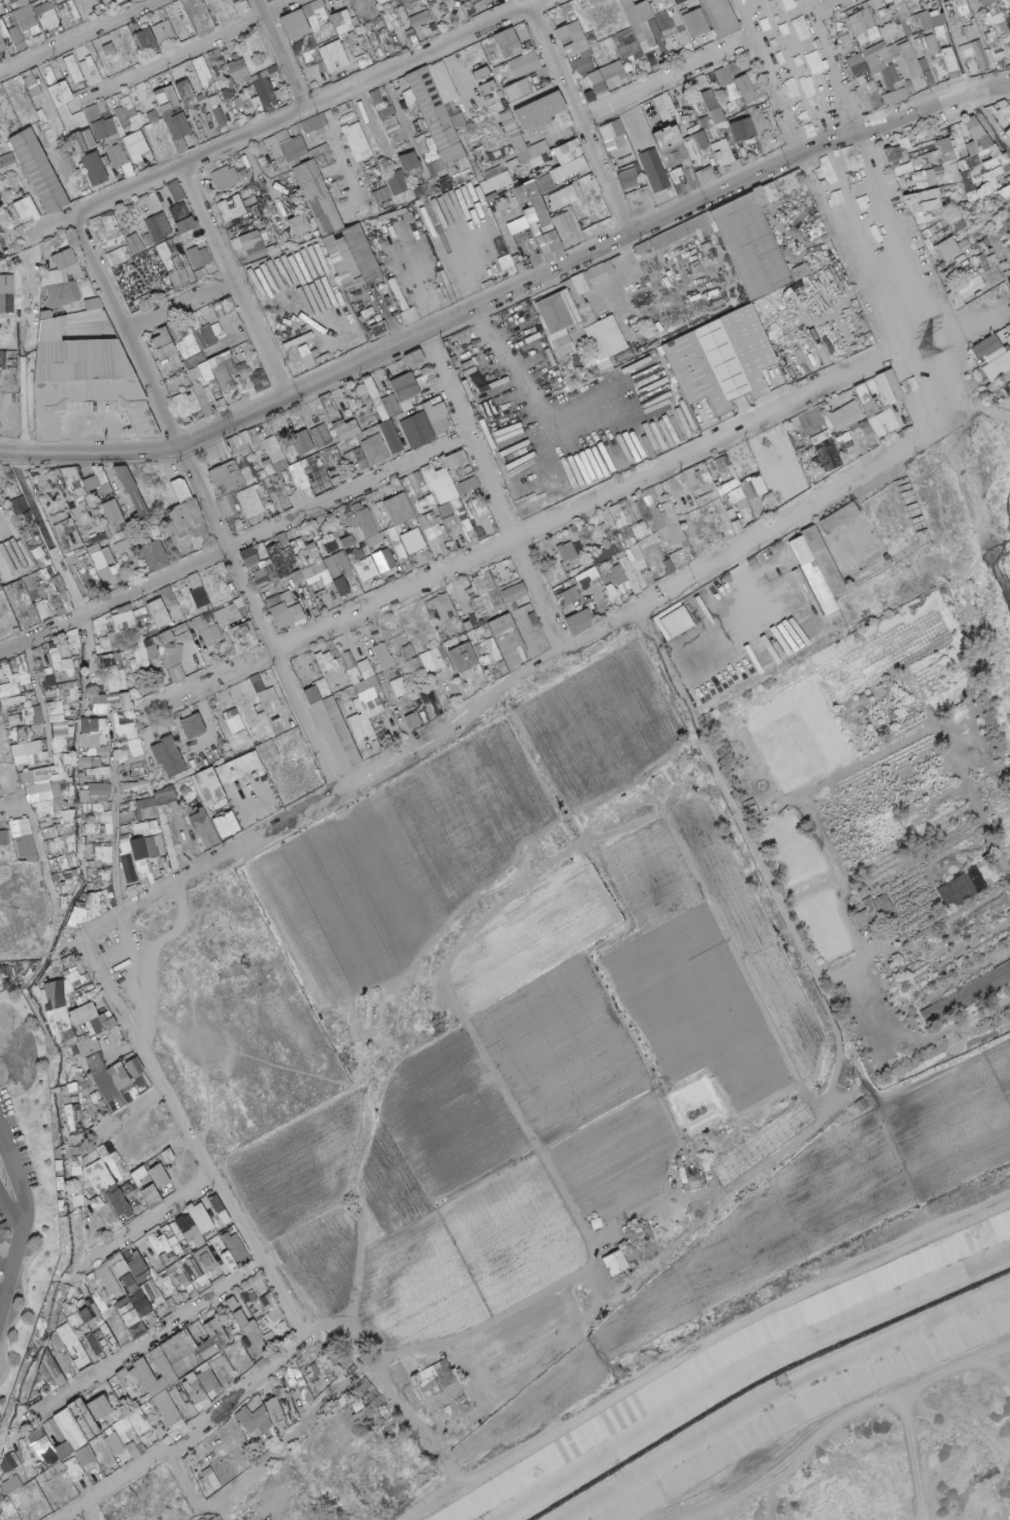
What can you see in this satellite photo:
power tower: (927, 350)
crop: (601, 734)
crop: (410, 857)
crop: (683, 970)
crop: (566, 1037)
crop: (303, 1168)
crop: (456, 1202)
crop: (328, 1261)
crop: (521, 1359)

